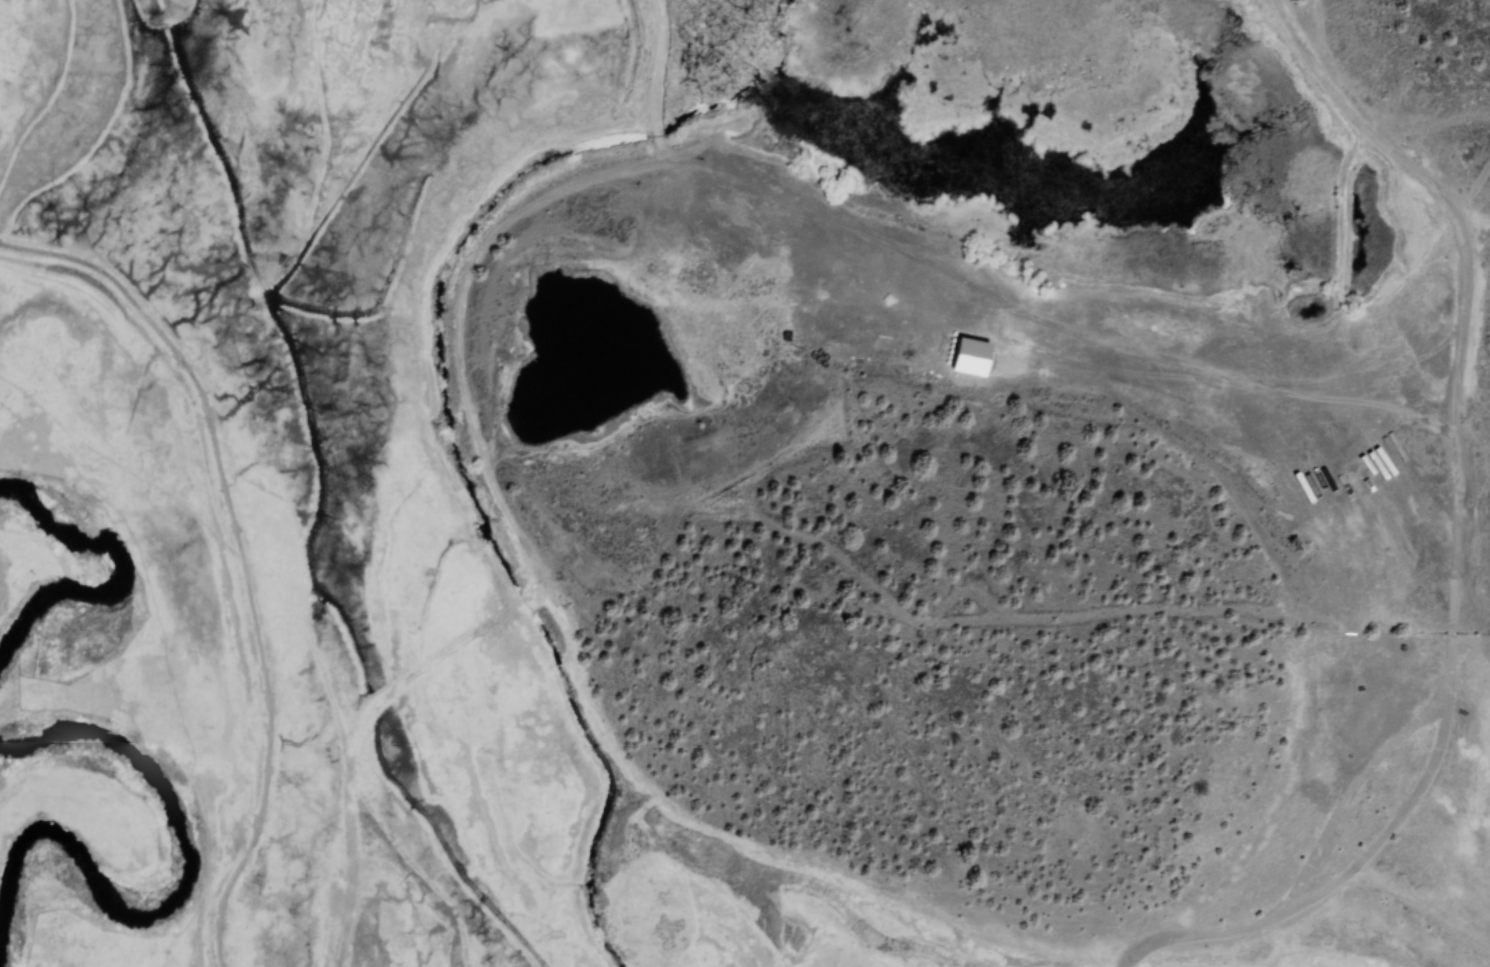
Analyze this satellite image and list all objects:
road: (459, 263)
building: (973, 358)
road: (1454, 540)
river: (107, 584)
road: (383, 692)
road: (1277, 783)
river: (163, 899)

